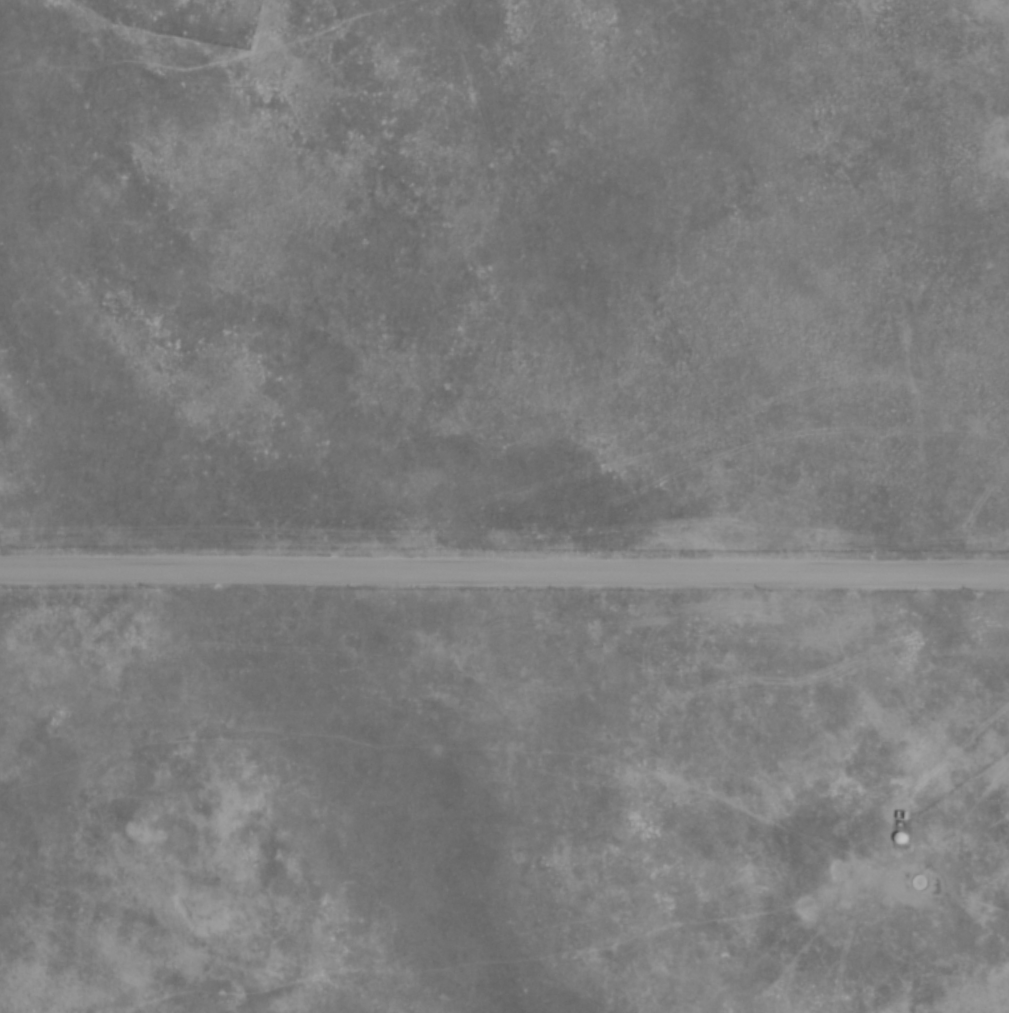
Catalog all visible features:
road: (504, 570)

